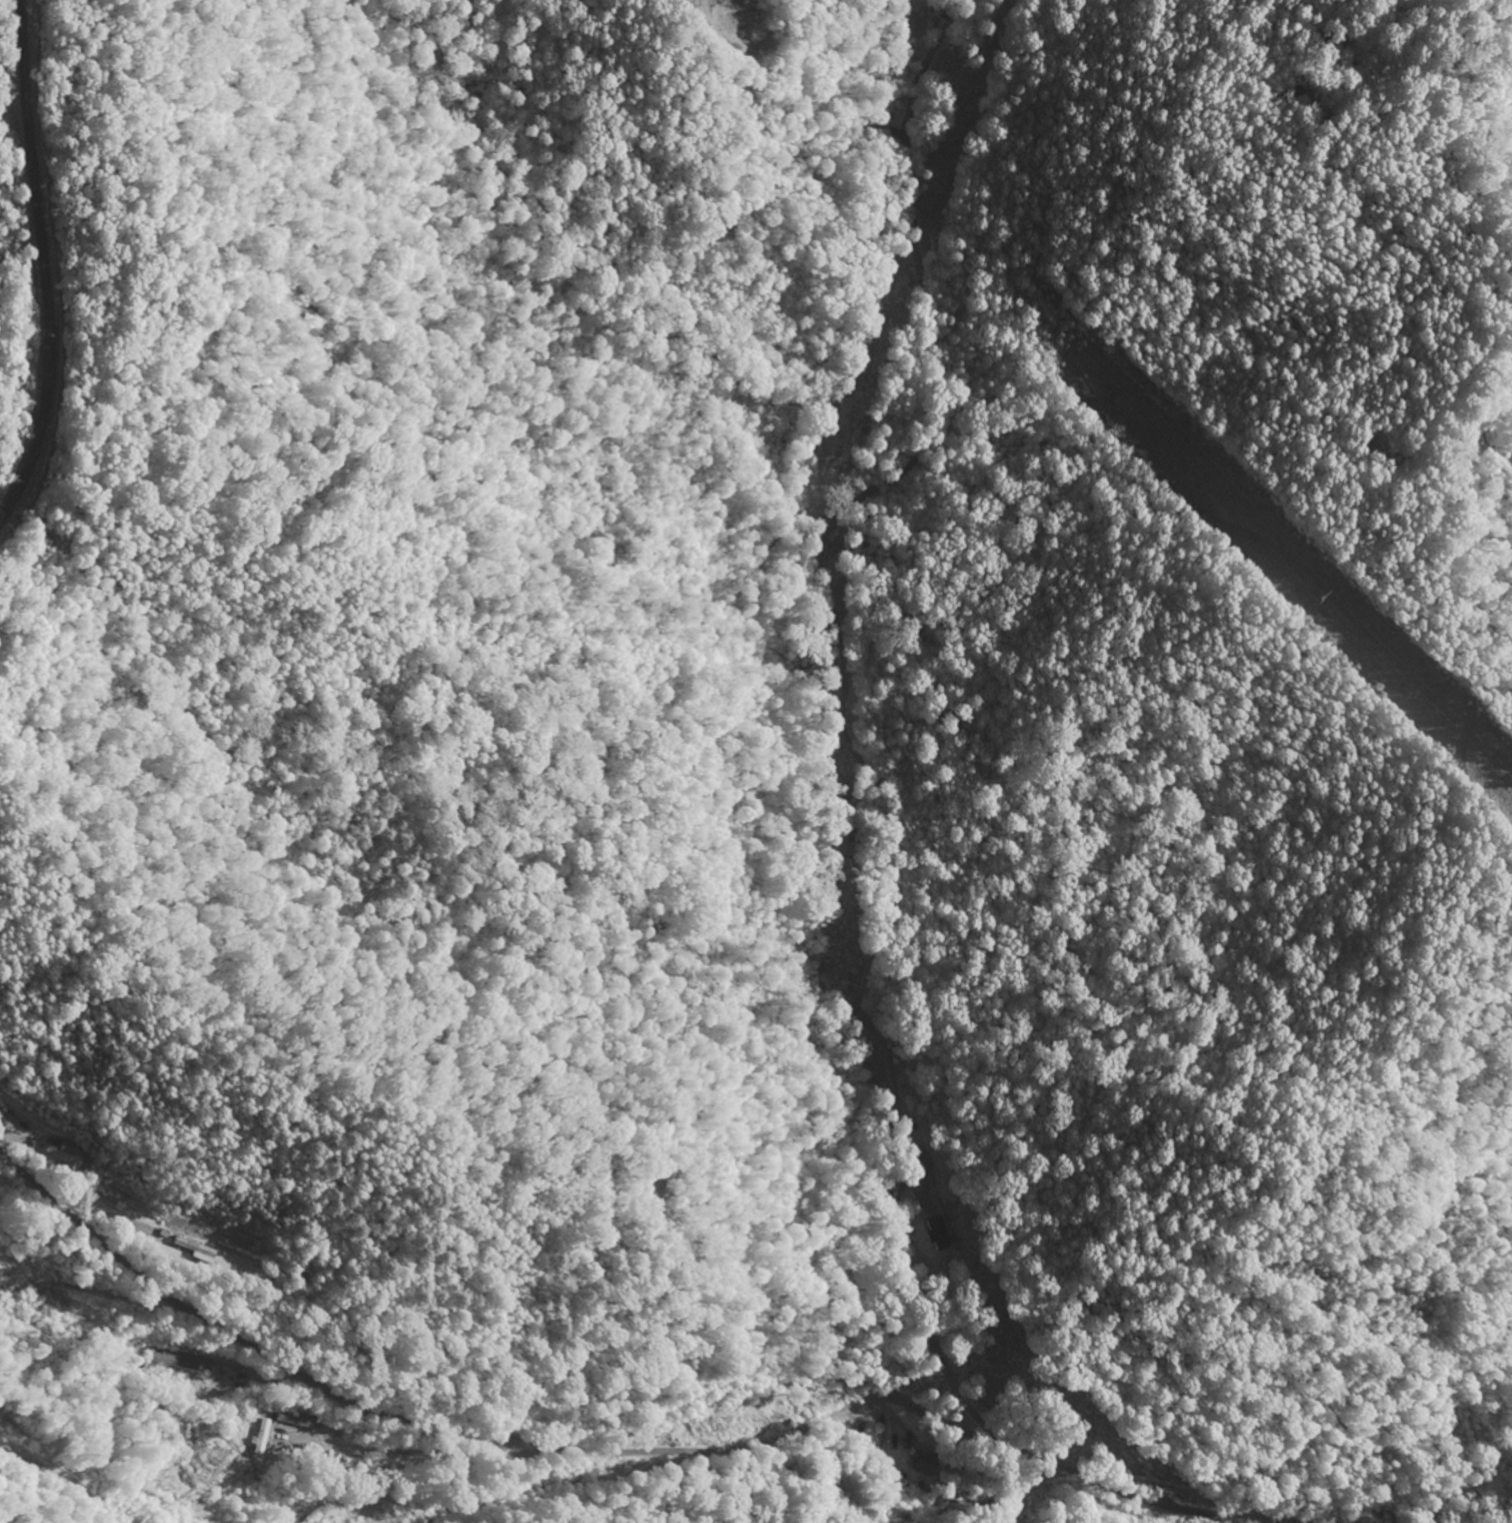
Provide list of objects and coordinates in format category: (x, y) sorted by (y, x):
road: (36, 255)
power tower: (1308, 597)
building: (932, 1235)
road: (945, 1298)
building: (260, 1438)
road: (589, 1447)
building: (923, 1464)
road: (56, 1479)

